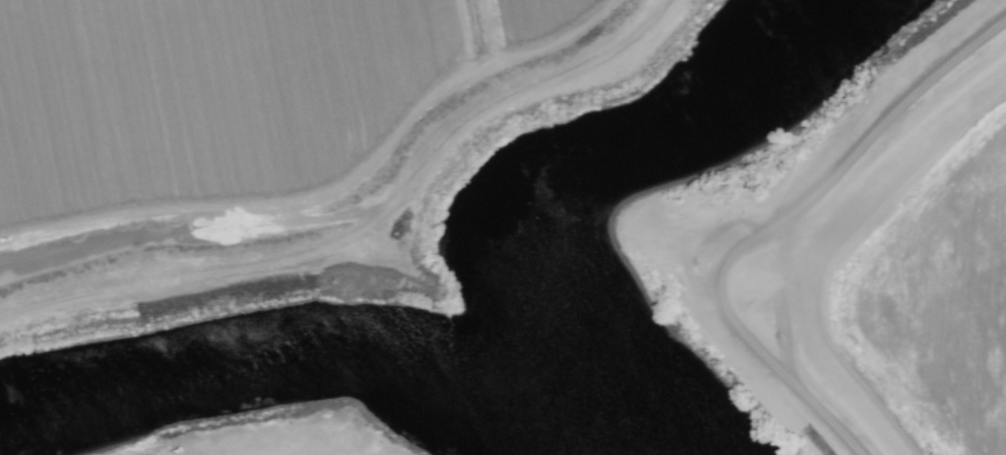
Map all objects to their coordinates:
river: (618, 165)
road: (351, 209)
road: (765, 227)
crop: (902, 279)
river: (279, 364)
river: (594, 421)

